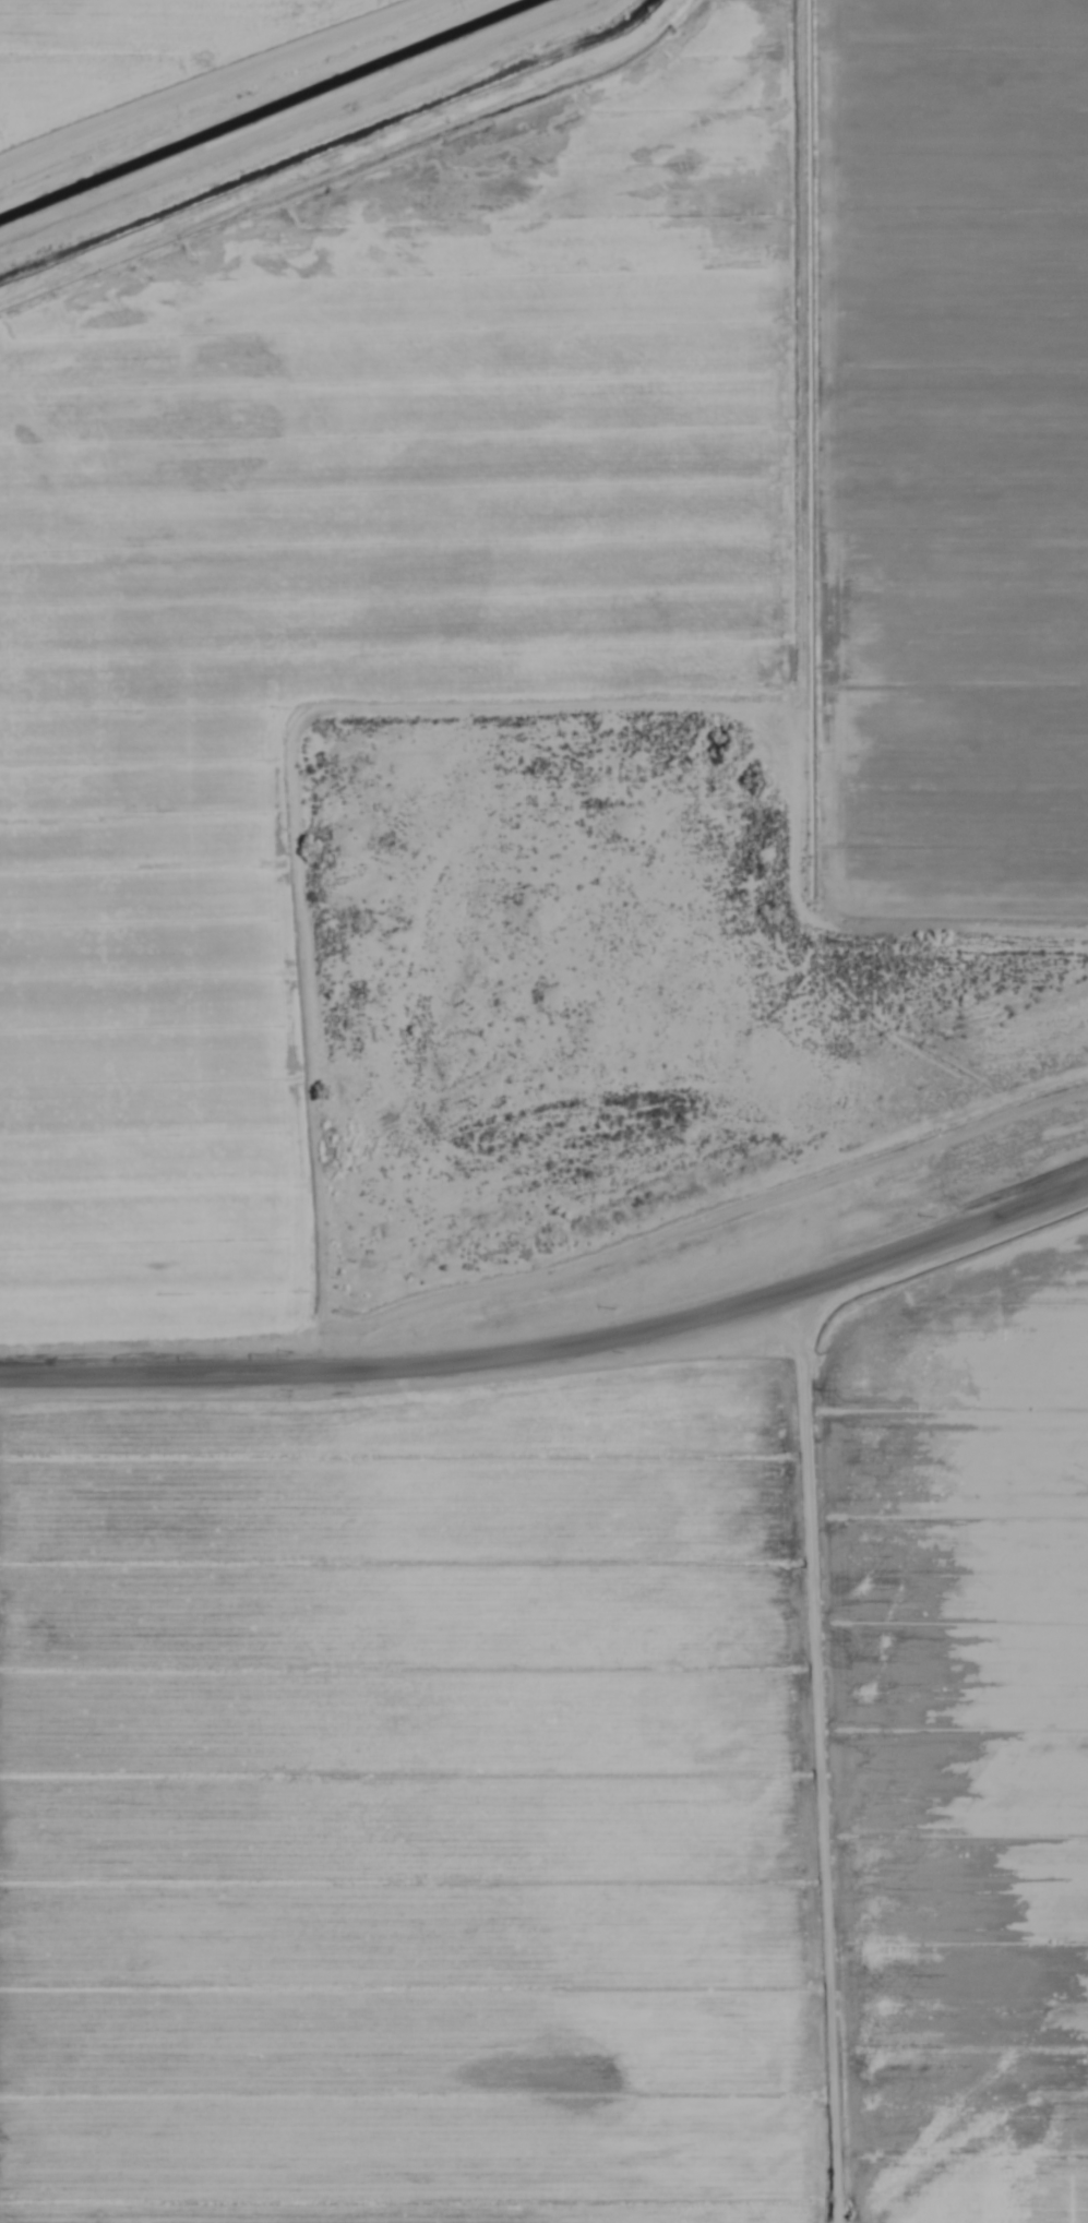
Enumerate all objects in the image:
crop: (543, 1111)
road: (553, 1349)

